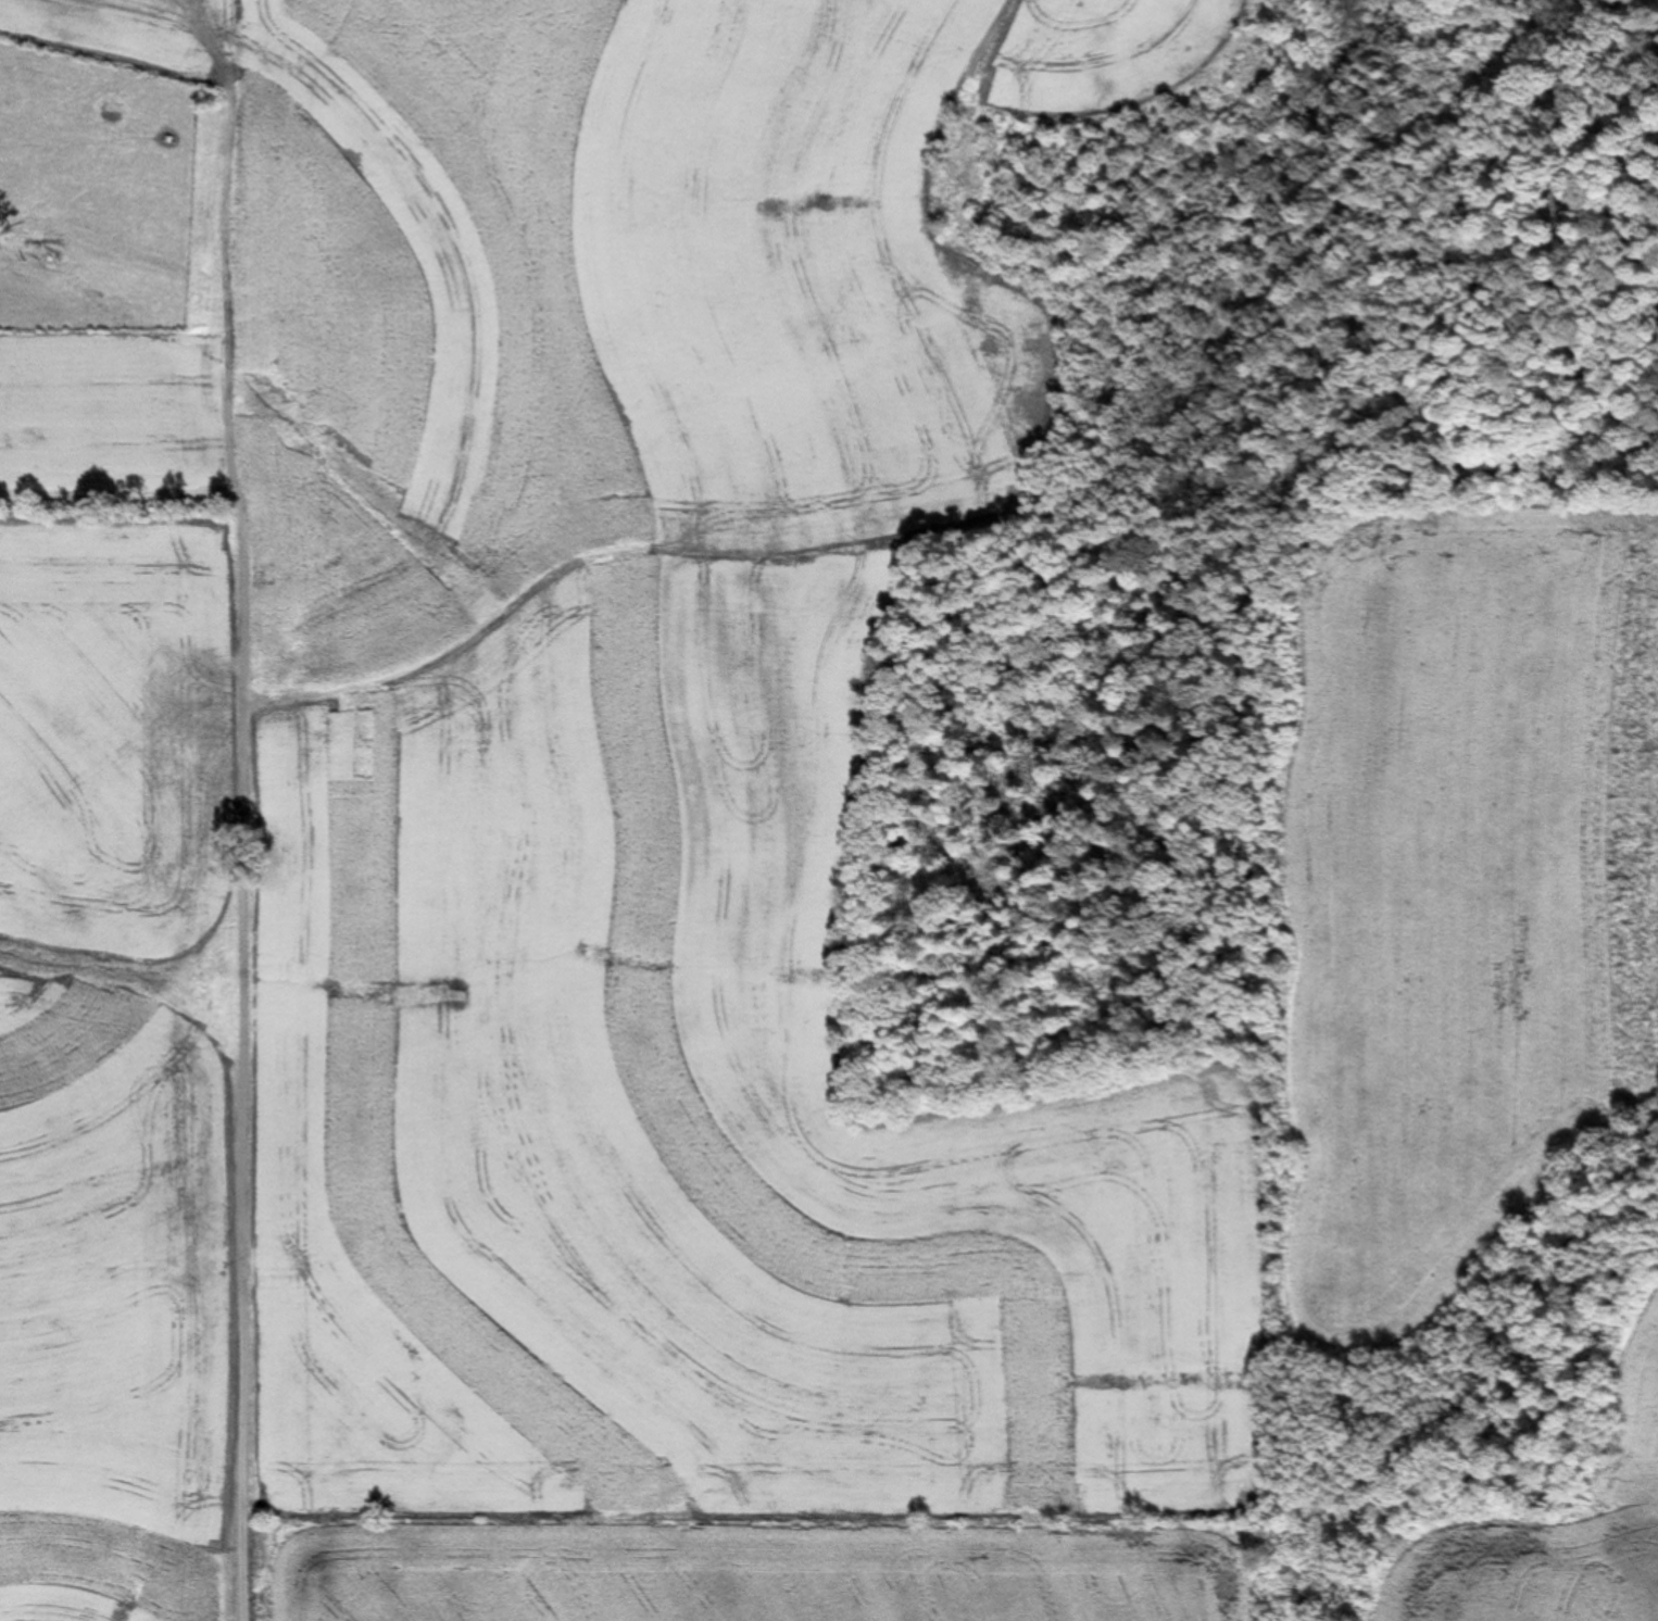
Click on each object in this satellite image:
building: (222, 21)
road: (218, 868)

